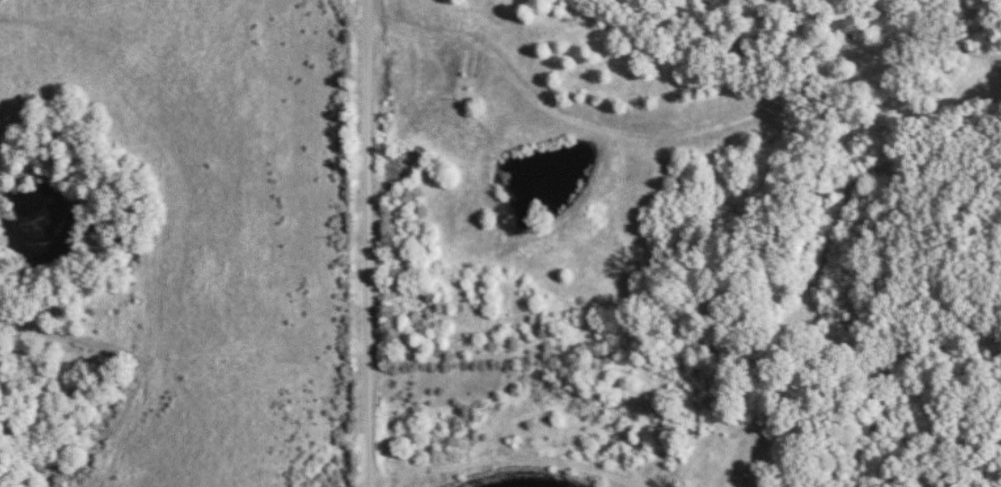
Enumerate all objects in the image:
road: (368, 243)

